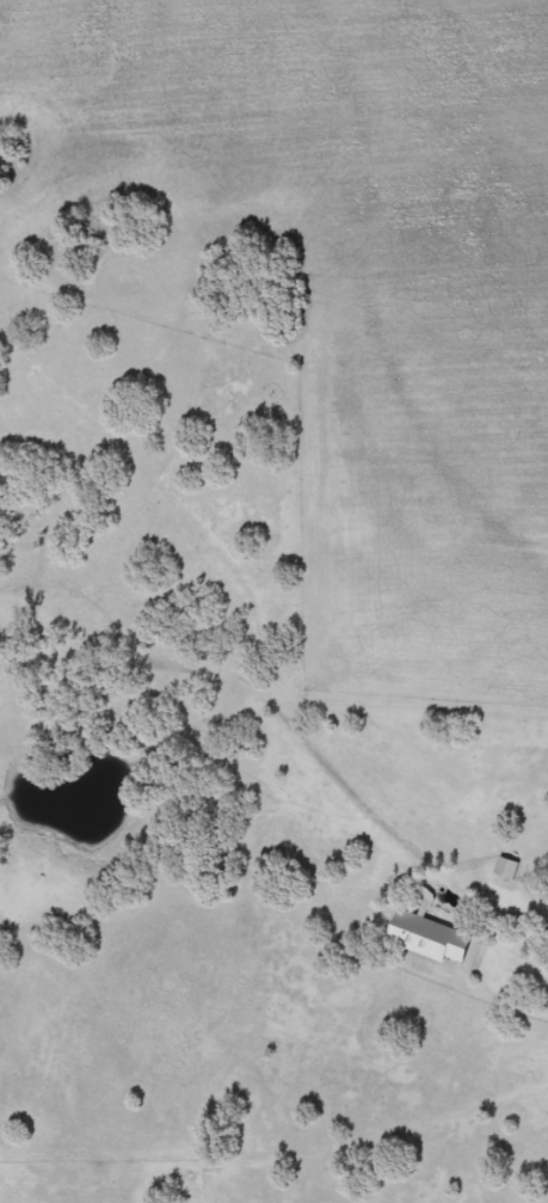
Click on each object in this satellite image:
building: (501, 866)
building: (425, 937)

